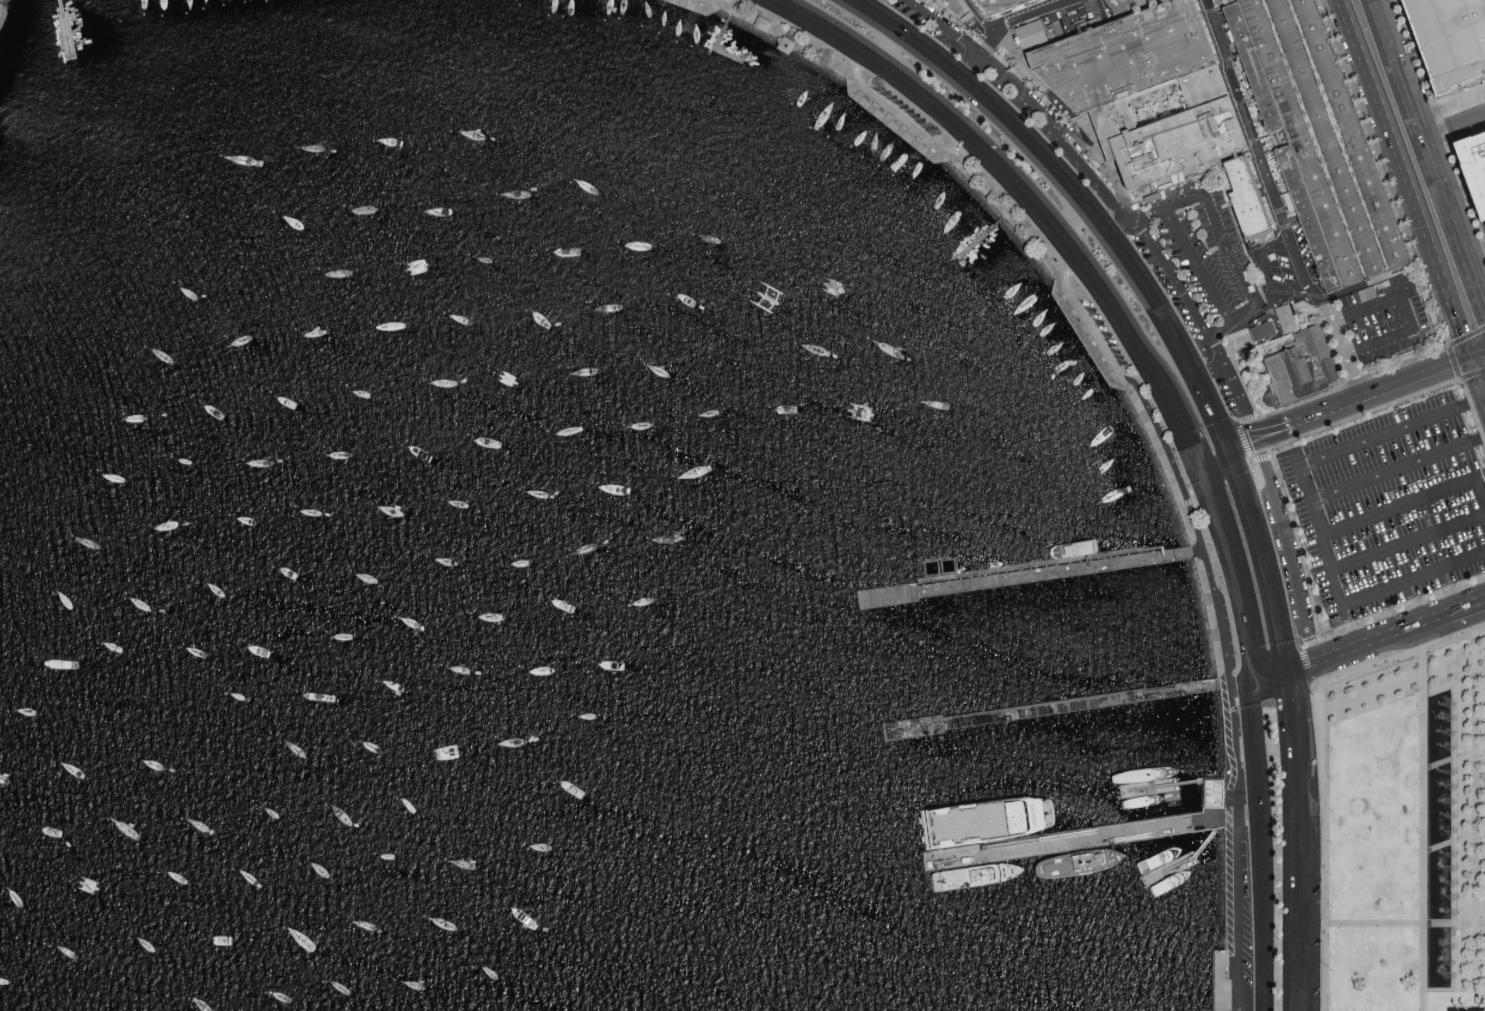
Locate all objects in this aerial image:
road: (862, 3)
road: (60, 6)
building: (999, 6)
road: (725, 22)
building: (762, 23)
road: (834, 29)
pier: (66, 35)
pier: (66, 35)
building: (1451, 40)
building: (785, 44)
pier: (718, 50)
road: (970, 66)
road: (1368, 80)
road: (975, 92)
road: (1031, 99)
building: (1154, 101)
road: (1448, 103)
parking lot: (907, 108)
road: (900, 118)
road: (972, 136)
building: (1328, 139)
building: (1478, 156)
road: (1426, 160)
road: (1448, 176)
road: (1476, 180)
road: (1276, 204)
road: (1416, 212)
parking lot: (1147, 220)
road: (1095, 221)
road: (995, 223)
road: (1122, 229)
pier: (973, 243)
road: (1223, 245)
road: (1473, 250)
road: (1043, 255)
road: (1196, 267)
road: (1264, 273)
building: (1364, 295)
road: (1117, 308)
road: (1452, 311)
road: (1405, 313)
road: (1201, 325)
building: (1278, 328)
parking lot: (1105, 331)
road: (1451, 356)
road: (1477, 357)
traffic signals: (1469, 360)
building: (1302, 369)
road: (1209, 370)
road: (1476, 382)
road: (1380, 393)
road: (1473, 410)
road: (1389, 431)
road: (1190, 437)
road: (1258, 438)
road: (1223, 444)
traffic signals: (1227, 454)
road: (1215, 462)
road: (1235, 466)
road: (1397, 467)
traffic signals: (1205, 472)
road: (1206, 477)
road: (1480, 490)
road: (1184, 493)
road: (1191, 495)
road: (1187, 501)
road: (1403, 503)
parking lot: (1393, 509)
road: (1408, 541)
road: (1288, 551)
pier: (1033, 575)
road: (1237, 578)
road: (1447, 590)
road: (1341, 601)
road: (1411, 603)
road: (1466, 607)
road: (1348, 627)
parking lot: (1227, 629)
road: (1473, 632)
road: (1309, 643)
road: (1367, 644)
traffic signals: (1285, 671)
road: (1268, 674)
traffic signals: (1252, 678)
road: (1319, 684)
road: (1288, 690)
road: (1479, 691)
road: (1290, 707)
pier: (1053, 708)
fountain: (1438, 726)
road: (1453, 757)
road: (1479, 759)
road: (1256, 760)
road: (1325, 761)
road: (1479, 775)
pier: (1190, 781)
pier: (1148, 786)
building: (1214, 792)
fountain: (1439, 804)
road: (1474, 821)
road: (1243, 822)
road: (1455, 823)
road: (1422, 828)
pier: (1085, 834)
park: (1407, 834)
road: (1453, 839)
pier: (1205, 841)
road: (1479, 844)
road: (1228, 852)
pier: (1169, 868)
road: (1479, 871)
road: (1293, 877)
fountain: (1439, 882)
road: (1405, 923)
road: (1266, 927)
road: (1238, 928)
parking lot: (1241, 931)
fountain: (1439, 957)
road: (1457, 999)
road: (1429, 1005)
building: (1468, 1009)

